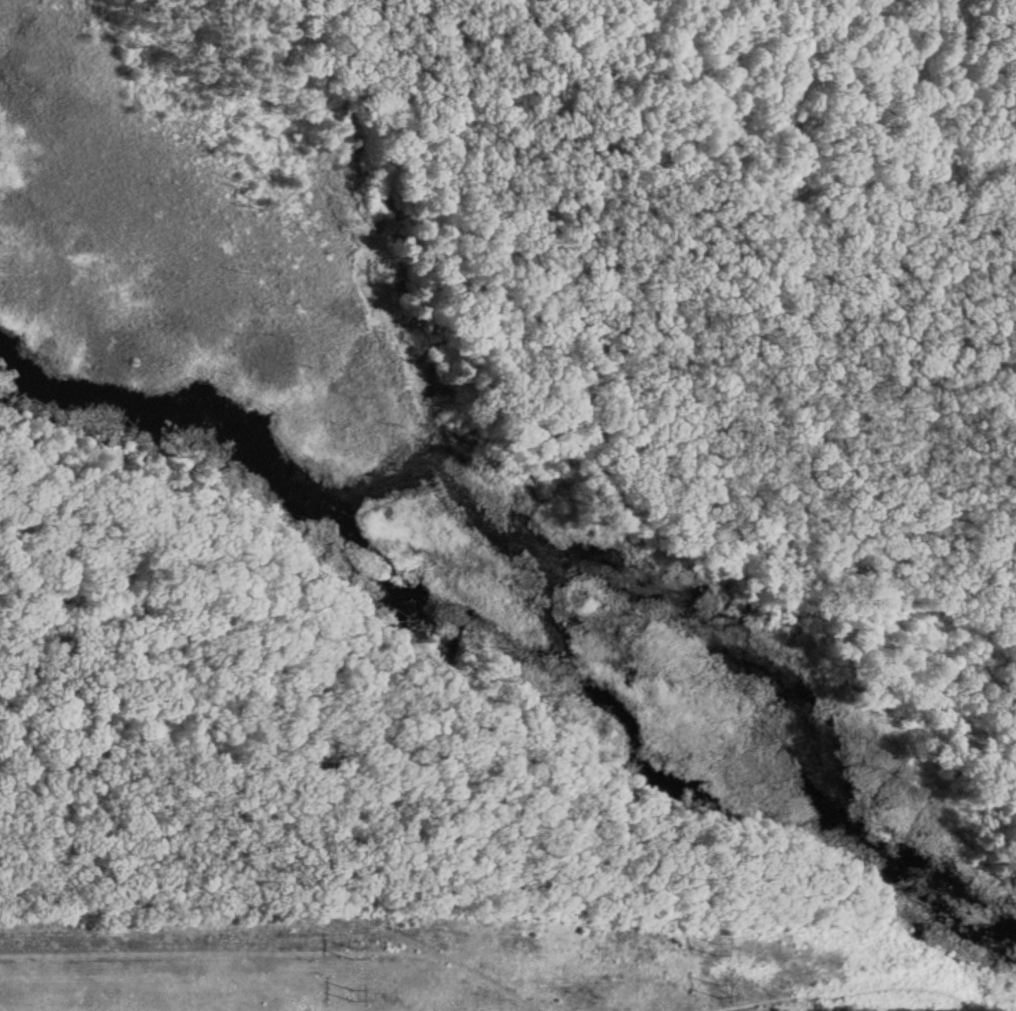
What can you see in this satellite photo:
power tower: (714, 944)
power tower: (350, 948)
power tower: (714, 988)
power tower: (350, 992)

